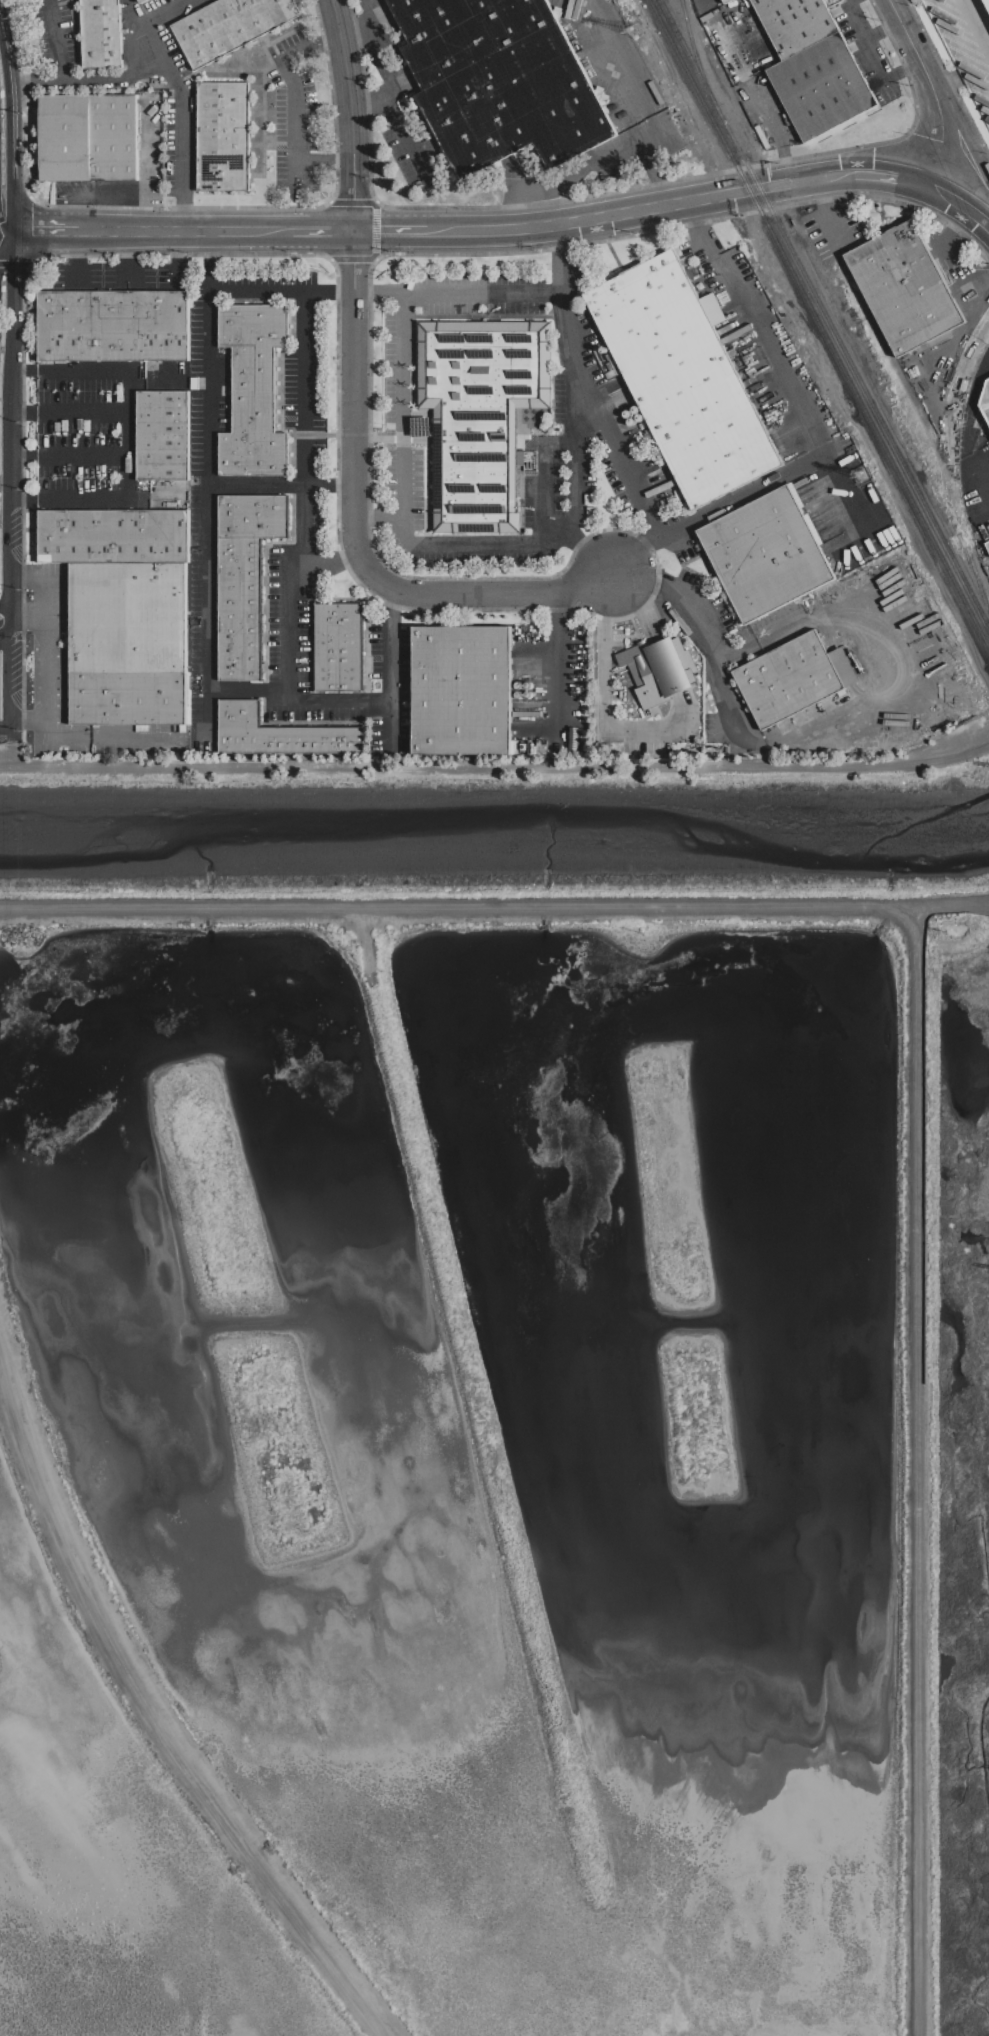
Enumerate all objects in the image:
building: (137, 0)
building: (723, 1)
road: (843, 2)
building: (987, 2)
building: (228, 25)
road: (975, 27)
power tower: (638, 29)
road: (354, 30)
road: (874, 32)
building: (100, 33)
road: (56, 39)
railway: (692, 42)
road: (310, 47)
building: (812, 65)
road: (893, 73)
road: (84, 80)
building: (497, 80)
road: (388, 90)
road: (929, 90)
road: (369, 100)
road: (293, 110)
road: (178, 120)
road: (9, 133)
building: (222, 136)
building: (87, 137)
road: (323, 162)
road: (142, 164)
road: (573, 174)
road: (889, 181)
road: (815, 189)
road: (640, 204)
road: (959, 205)
road: (831, 223)
road: (390, 227)
road: (183, 228)
road: (316, 228)
road: (5, 229)
road: (48, 229)
road: (949, 229)
road: (6, 237)
road: (68, 255)
road: (122, 256)
road: (970, 282)
building: (906, 287)
road: (493, 292)
railway: (825, 313)
railway: (819, 324)
building: (112, 325)
road: (982, 362)
road: (7, 364)
road: (779, 366)
building: (680, 377)
road: (302, 386)
road: (206, 389)
building: (252, 389)
railway: (907, 391)
building: (985, 400)
road: (65, 411)
road: (354, 411)
building: (479, 414)
road: (124, 434)
building: (161, 435)
road: (65, 456)
railway: (953, 467)
power tower: (859, 473)
road: (577, 489)
road: (640, 498)
road: (986, 511)
road: (377, 513)
road: (487, 542)
road: (581, 545)
building: (765, 553)
road: (7, 562)
road: (333, 564)
building: (243, 578)
road: (204, 598)
building: (122, 612)
road: (3, 625)
building: (336, 646)
road: (556, 655)
building: (658, 669)
road: (6, 677)
building: (792, 677)
road: (601, 684)
building: (461, 690)
road: (287, 702)
road: (835, 716)
road: (26, 717)
road: (46, 729)
road: (3, 730)
building: (277, 733)
building: (577, 740)

